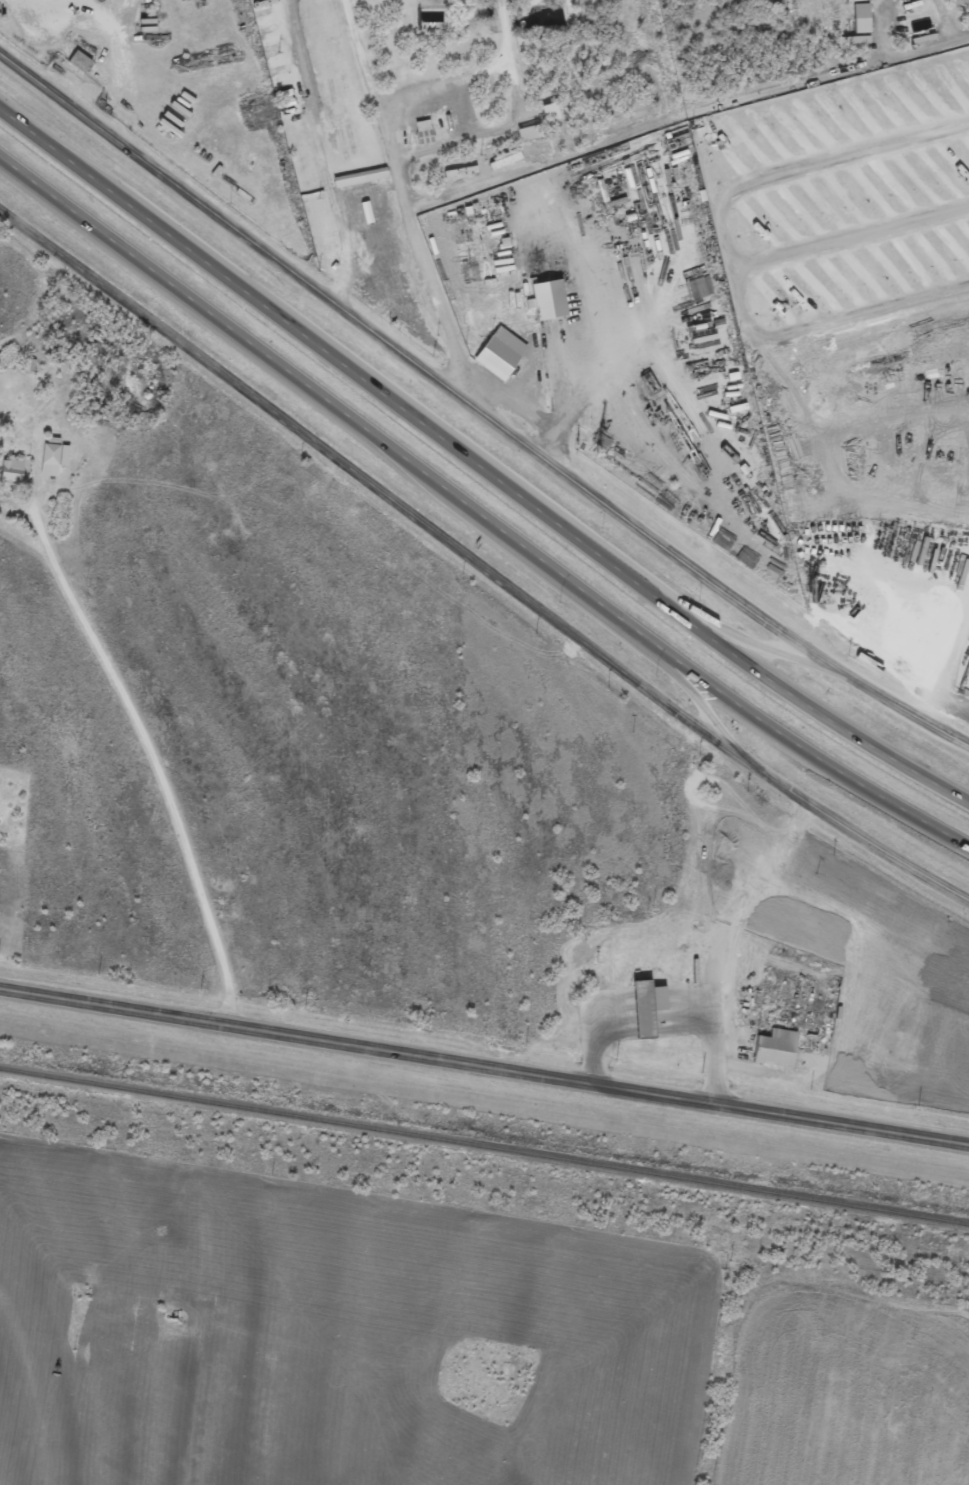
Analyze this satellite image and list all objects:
building: (858, 24)
building: (430, 25)
building: (76, 69)
road: (368, 79)
road: (444, 81)
road: (511, 120)
road: (686, 122)
building: (420, 138)
building: (525, 139)
road: (319, 149)
building: (361, 175)
building: (357, 184)
road: (851, 235)
road: (728, 248)
road: (427, 273)
building: (548, 298)
building: (501, 352)
road: (415, 359)
building: (51, 465)
road: (477, 474)
road: (366, 475)
building: (9, 476)
road: (475, 524)
road: (744, 646)
road: (688, 698)
road: (898, 709)
road: (151, 762)
road: (845, 828)
building: (642, 1014)
building: (772, 1054)
road: (484, 1065)
railway: (484, 1146)

